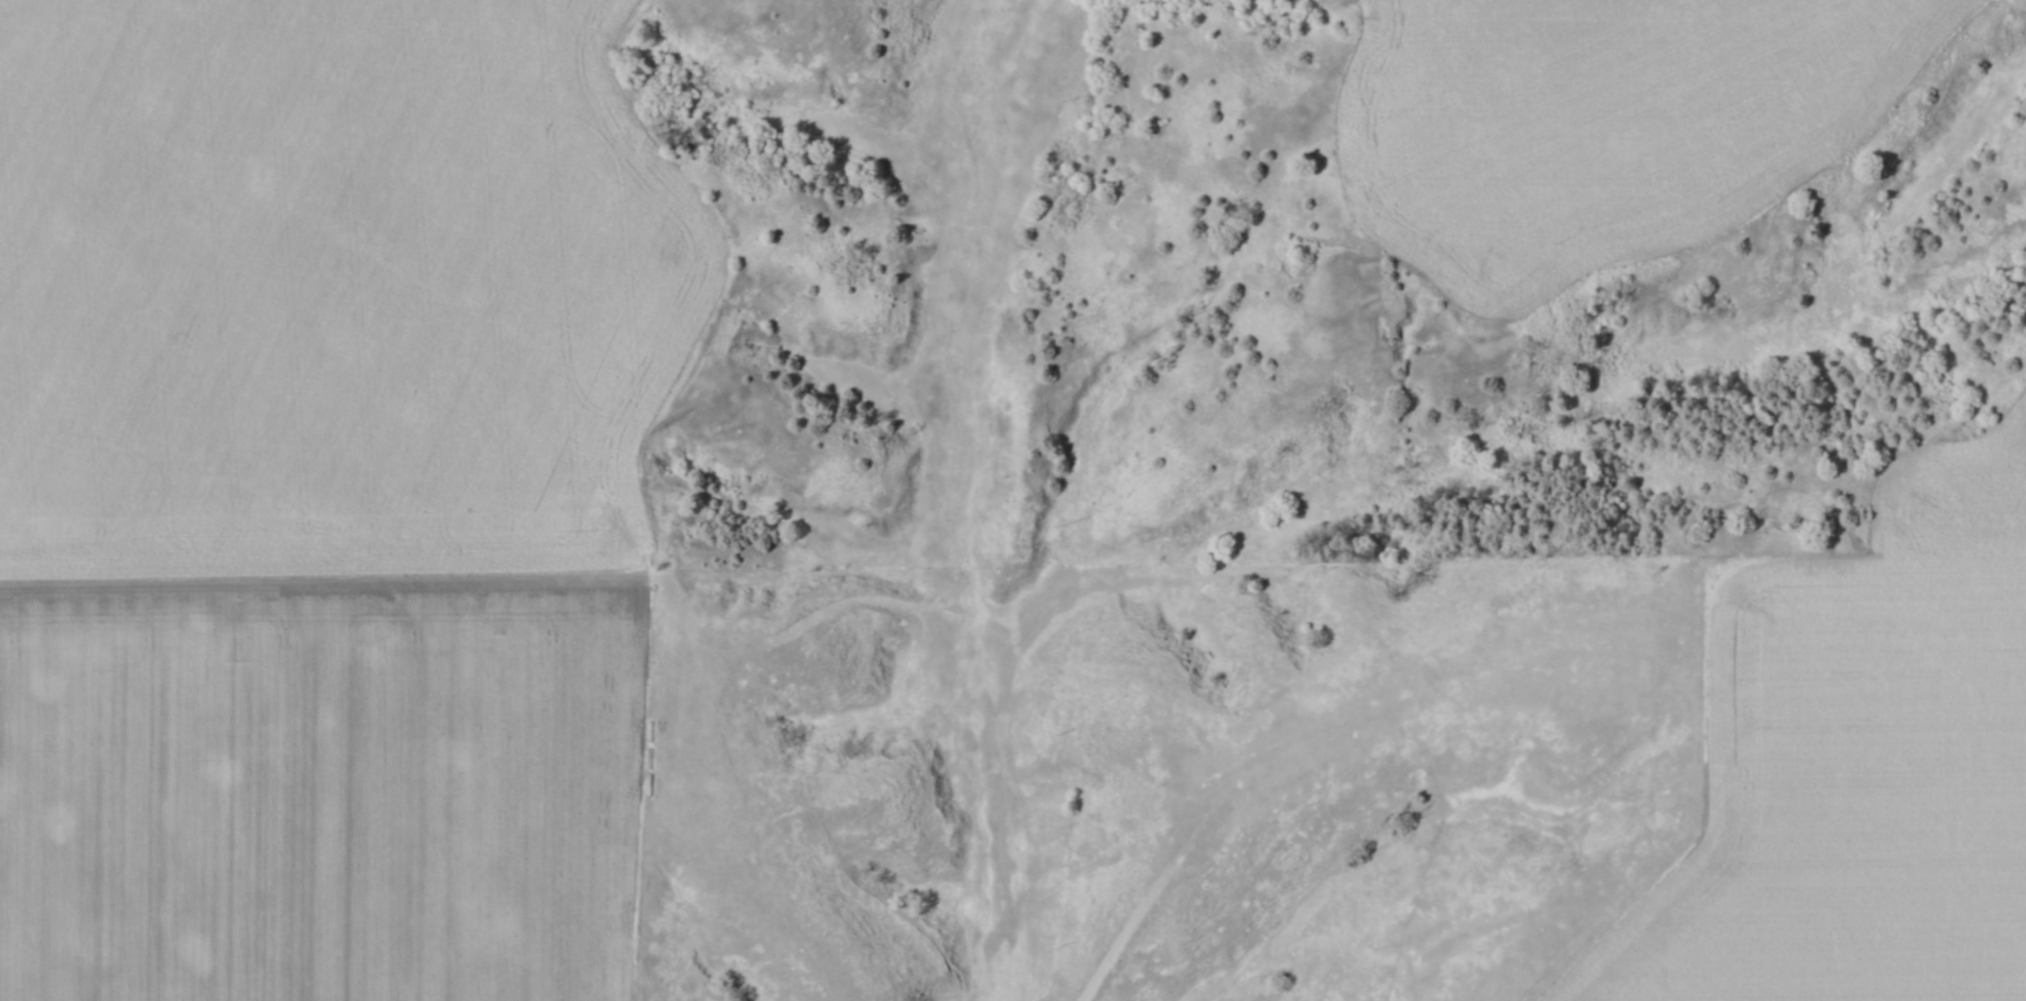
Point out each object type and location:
crop: (1612, 122)
crop: (335, 284)
crop: (1859, 763)
crop: (328, 797)

